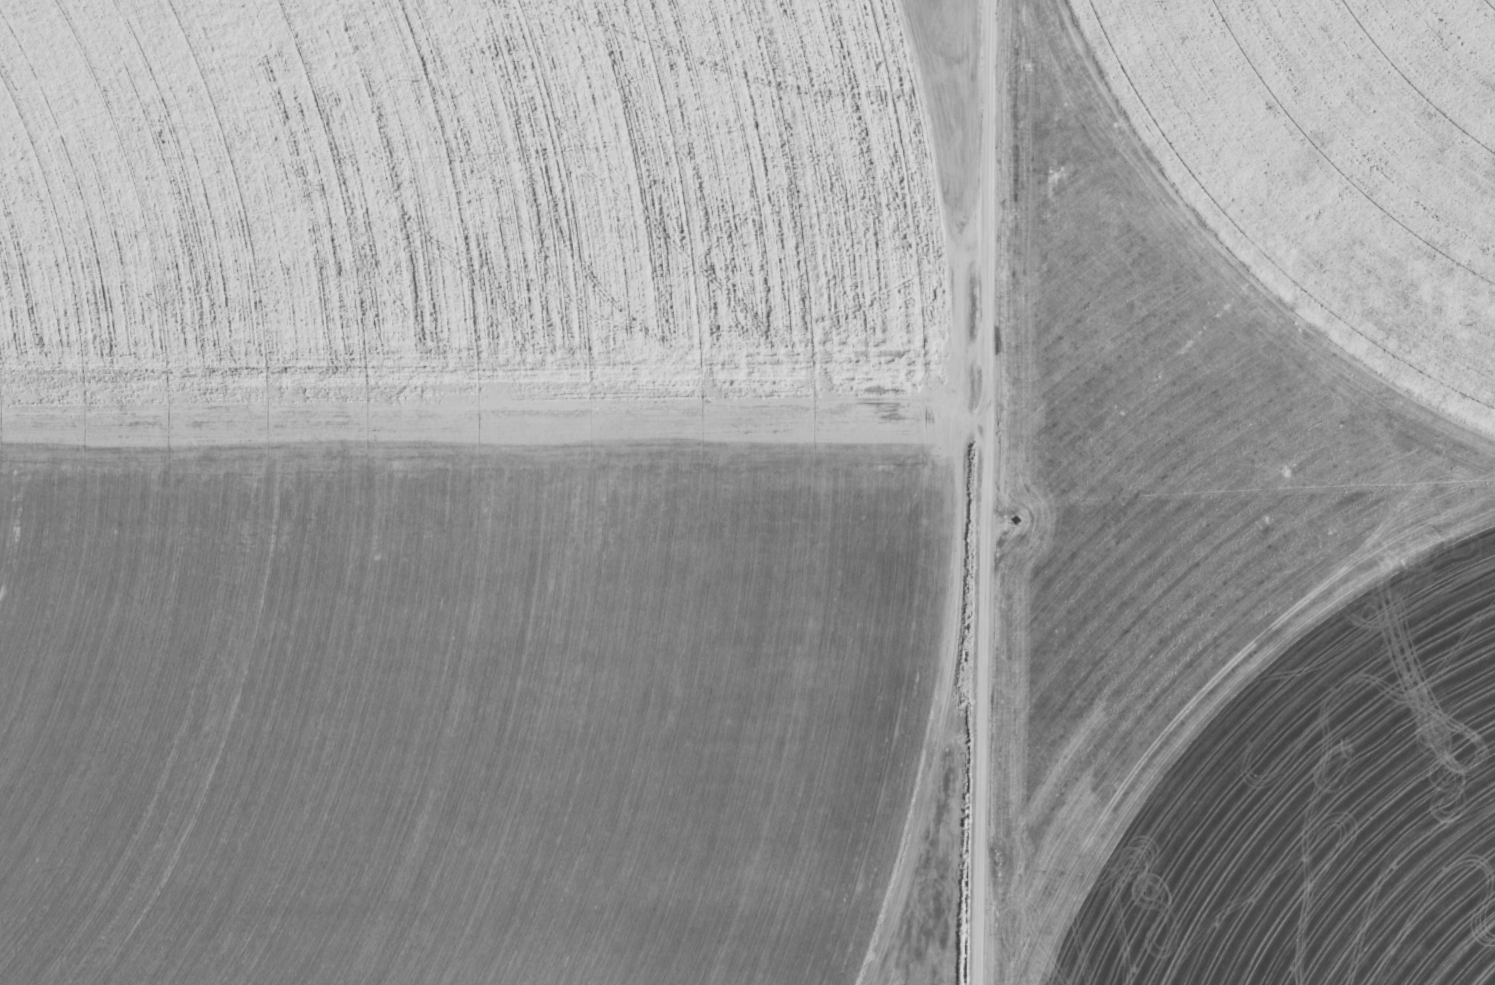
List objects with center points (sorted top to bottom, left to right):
road: (984, 492)

